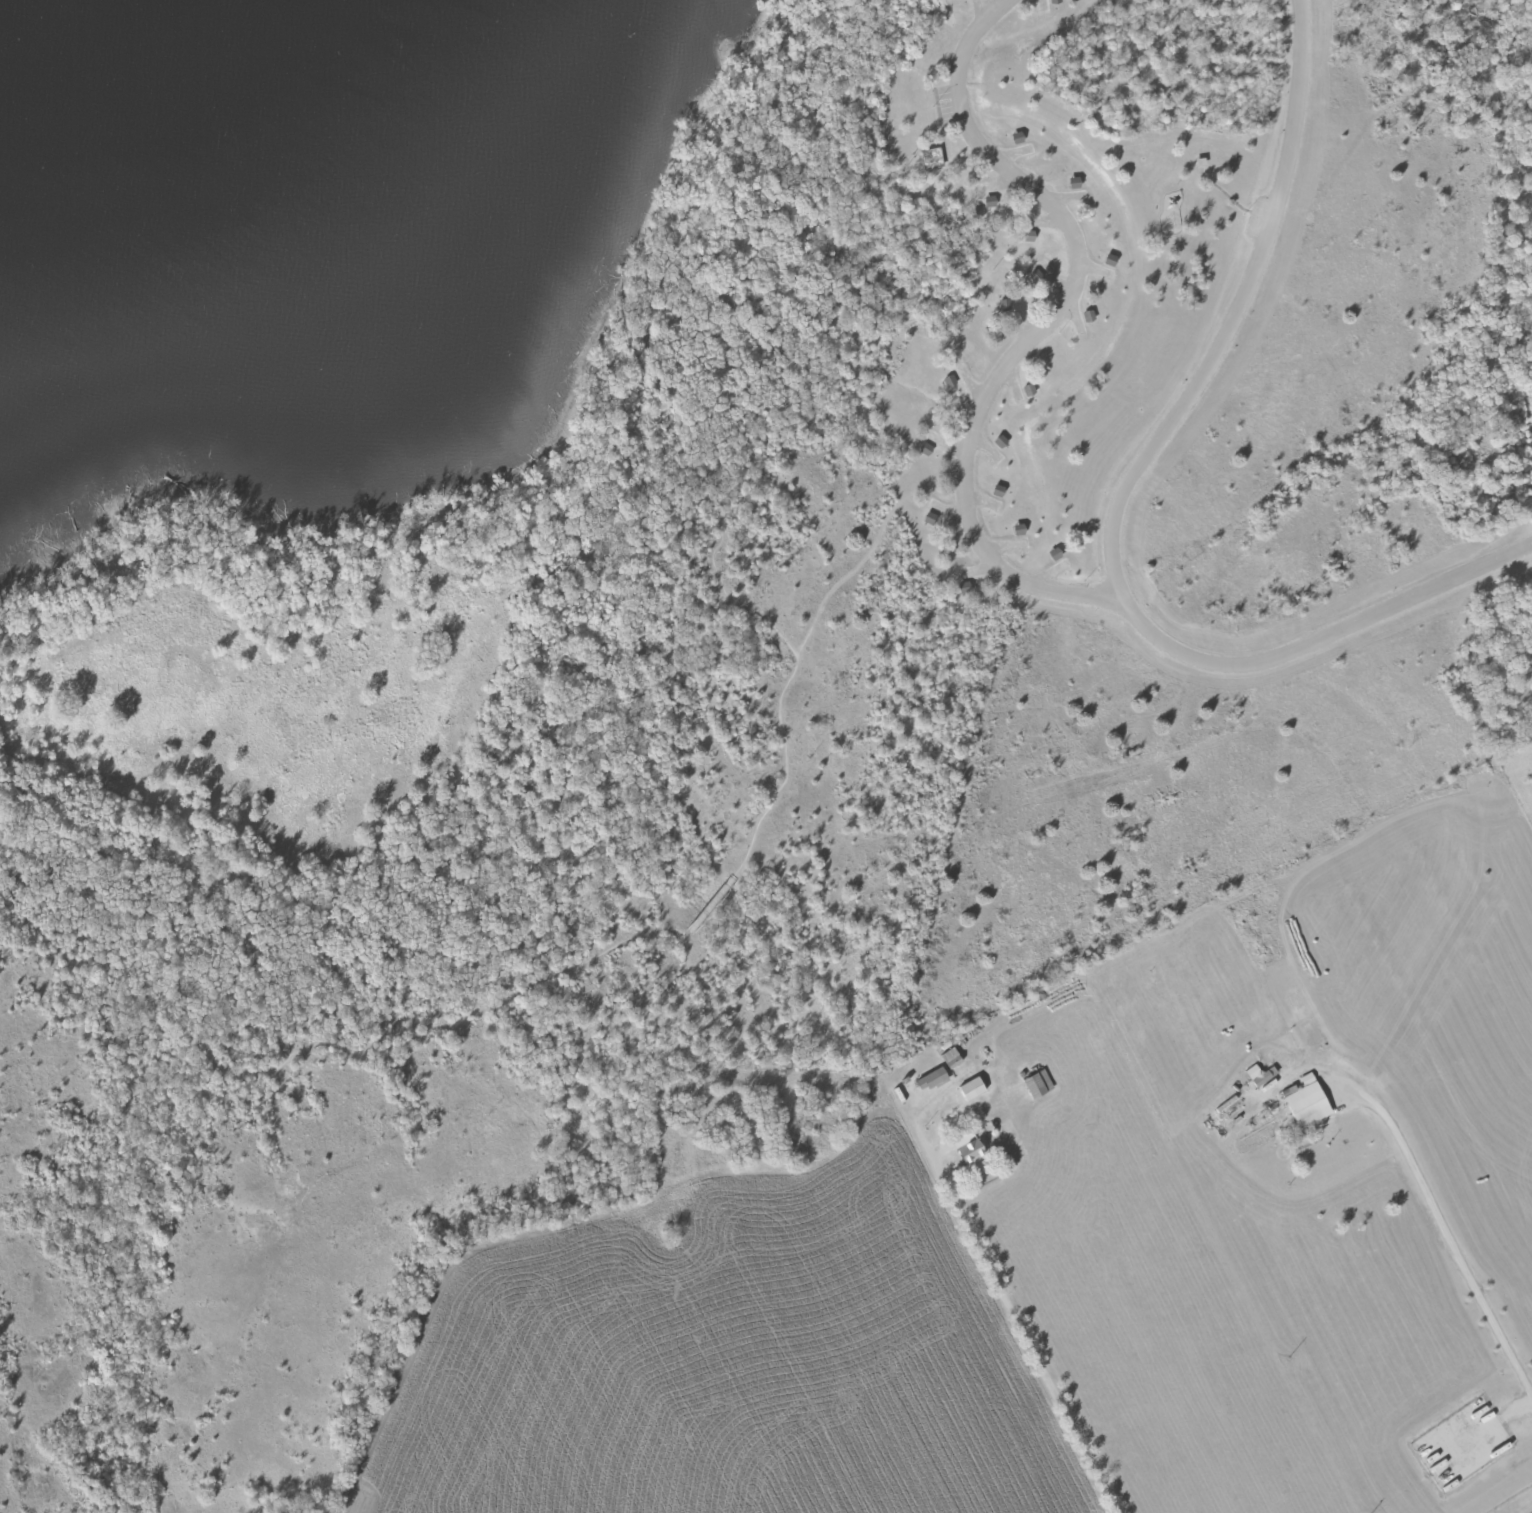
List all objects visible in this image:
road: (1189, 175)
road: (1238, 304)
road: (1041, 328)
park: (1195, 433)
road: (1318, 642)
road: (721, 893)
building: (931, 1079)
building: (1037, 1083)
building: (971, 1088)
building: (1306, 1101)
building: (971, 1152)
road: (1451, 1242)
road: (1007, 1299)

